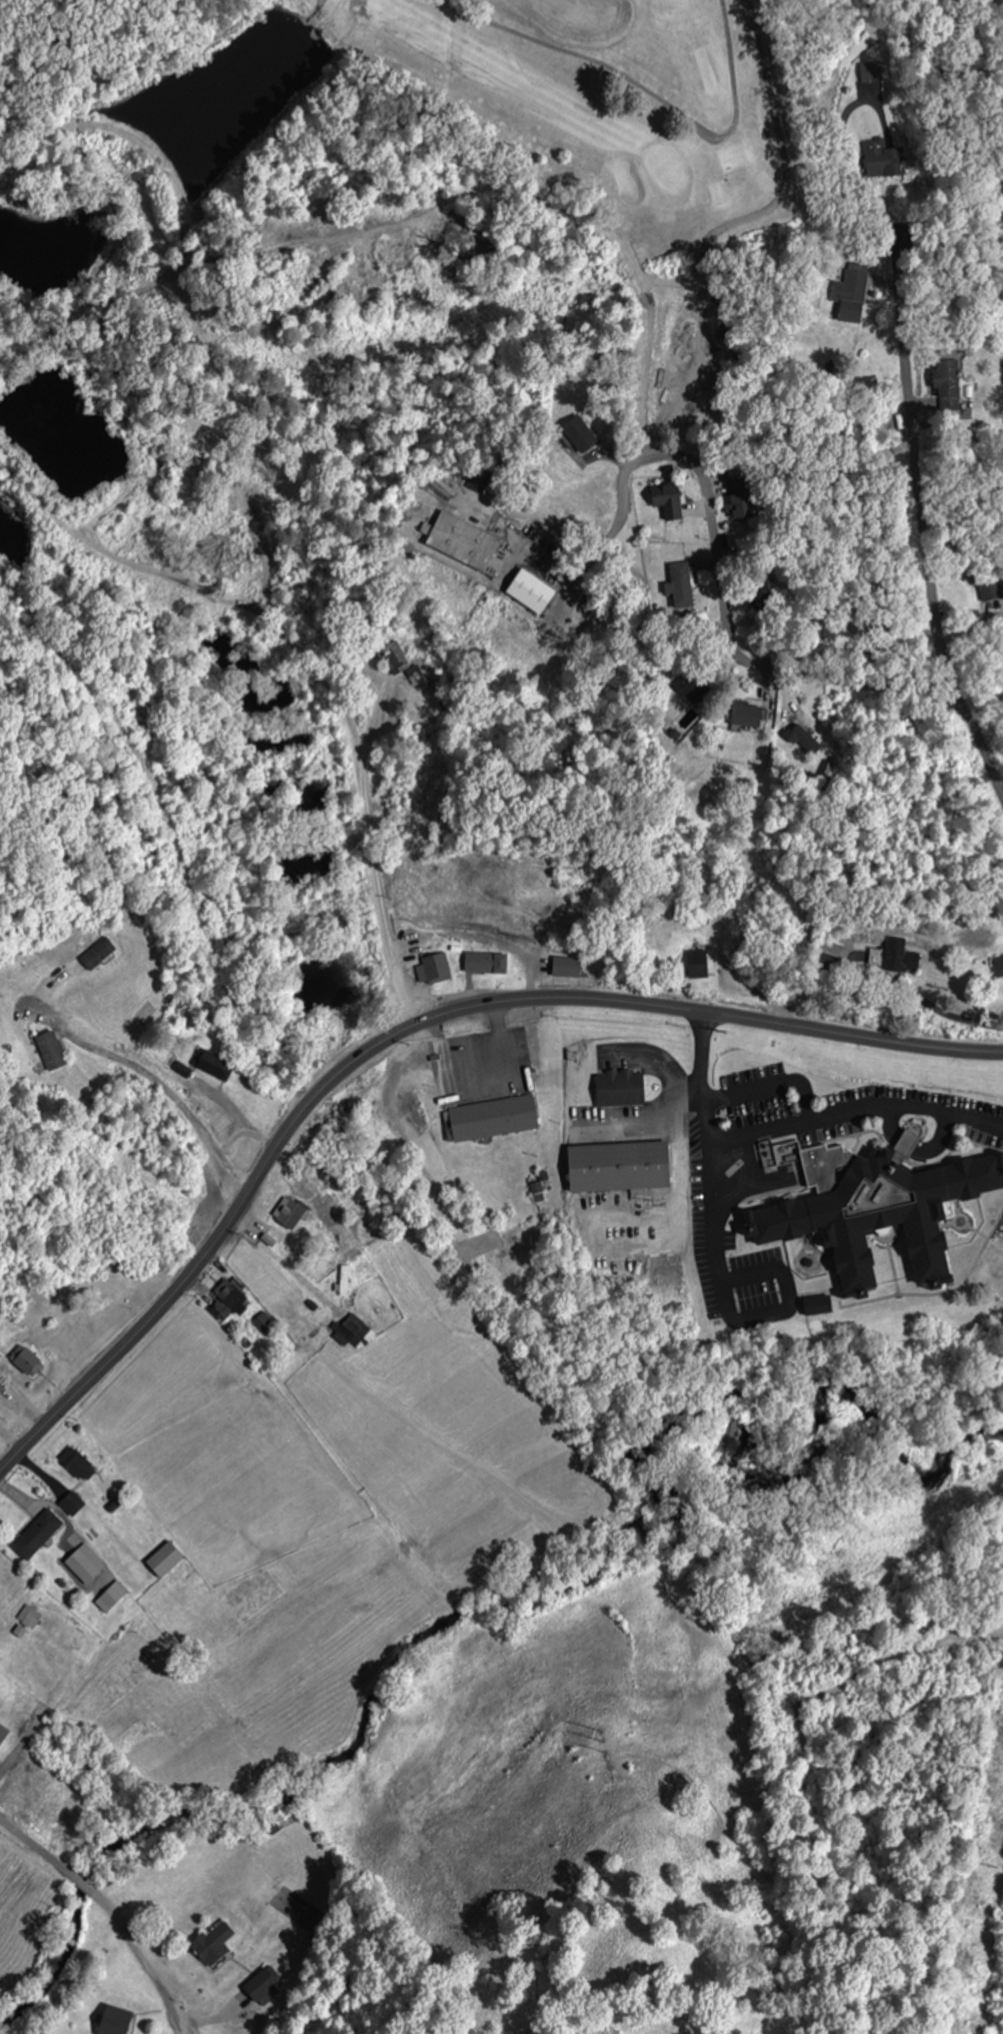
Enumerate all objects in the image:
park: (448, 169)
building: (848, 295)
building: (947, 383)
building: (579, 433)
road: (913, 476)
building: (478, 478)
building: (740, 496)
building: (667, 499)
building: (462, 540)
building: (680, 584)
building: (529, 590)
building: (988, 591)
road: (728, 630)
building: (392, 656)
building: (414, 674)
building: (693, 690)
building: (745, 713)
building: (803, 739)
road: (979, 757)
road: (438, 781)
building: (97, 954)
building: (893, 960)
building: (485, 963)
building: (565, 967)
building: (1000, 968)
building: (432, 969)
building: (696, 969)
road: (406, 1028)
building: (619, 1087)
building: (489, 1118)
building: (618, 1166)
building: (876, 1207)
building: (287, 1213)
building: (341, 1282)
building: (228, 1298)
building: (817, 1305)
building: (263, 1323)
building: (353, 1332)
building: (24, 1360)
building: (1, 1387)
building: (75, 1462)
building: (71, 1503)
building: (36, 1533)
building: (163, 1559)
building: (83, 1564)
building: (110, 1596)
building: (29, 1621)
building: (998, 1662)
building: (3, 1733)
building: (21, 1786)
building: (45, 1796)
road: (112, 1914)
building: (213, 1942)
building: (261, 1983)
building: (114, 2019)

